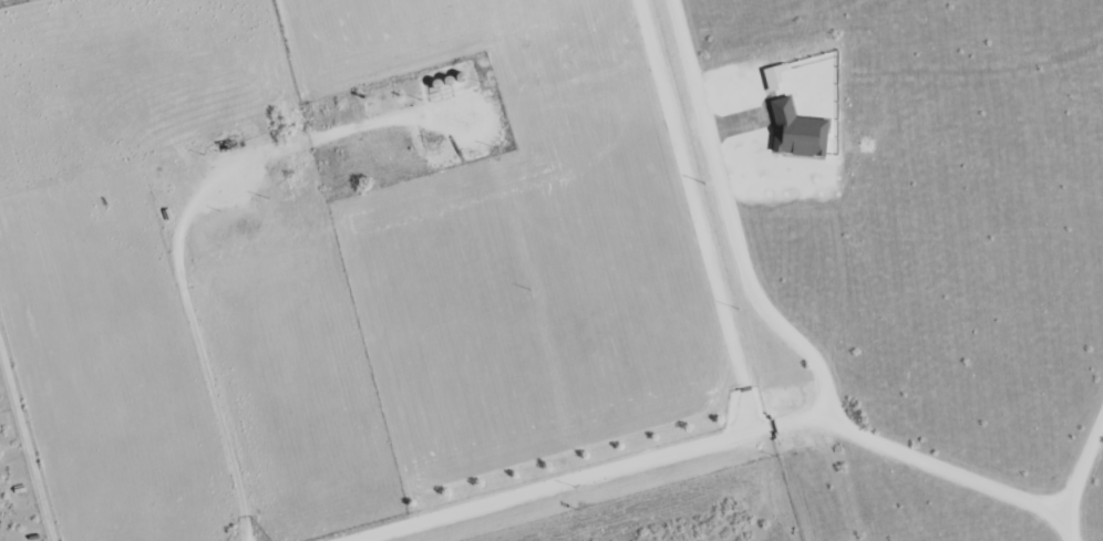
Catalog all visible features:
building: (797, 133)
road: (697, 218)
road: (729, 223)
road: (27, 440)
road: (961, 479)
road: (555, 486)

